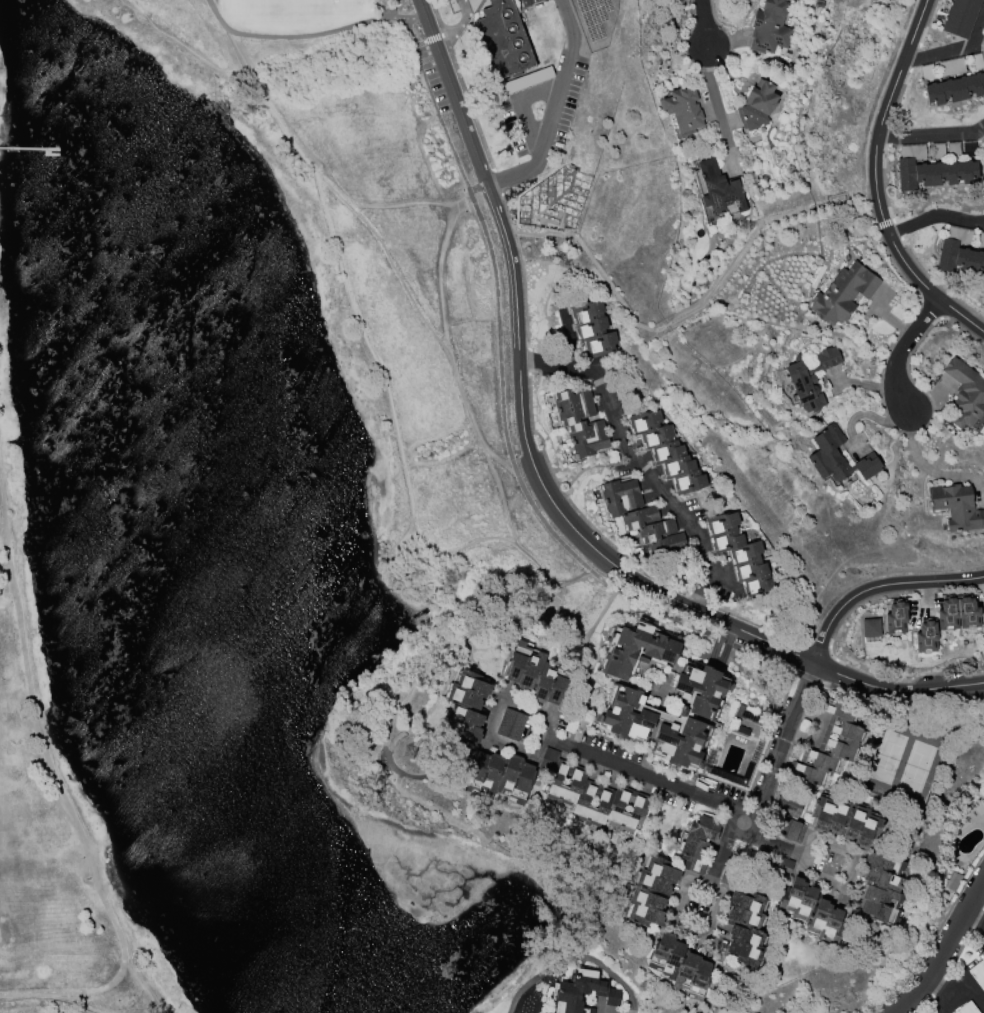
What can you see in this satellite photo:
building: (534, 1)
building: (525, 3)
road: (423, 11)
building: (960, 17)
road: (707, 19)
building: (770, 27)
road: (310, 36)
building: (503, 39)
building: (983, 43)
road: (953, 51)
building: (975, 61)
building: (950, 67)
building: (927, 72)
parking lot: (433, 76)
building: (955, 88)
road: (714, 93)
road: (457, 103)
building: (757, 104)
road: (553, 108)
building: (682, 109)
road: (522, 111)
park: (3, 119)
road: (932, 135)
pier: (28, 148)
building: (968, 149)
building: (953, 150)
building: (937, 151)
pier: (50, 154)
building: (930, 169)
road: (880, 177)
road: (478, 188)
building: (719, 188)
road: (938, 217)
park: (367, 231)
building: (980, 240)
building: (959, 252)
road: (515, 271)
building: (983, 275)
road: (442, 277)
building: (843, 293)
building: (593, 327)
road: (904, 346)
building: (810, 378)
building: (965, 393)
road: (391, 401)
road: (504, 421)
building: (581, 422)
road: (629, 450)
building: (667, 451)
building: (838, 457)
road: (502, 461)
building: (956, 506)
building: (641, 517)
road: (1, 521)
building: (741, 555)
road: (542, 570)
road: (574, 580)
road: (877, 585)
road: (684, 607)
building: (967, 612)
building: (947, 614)
building: (895, 617)
building: (982, 623)
building: (870, 627)
building: (926, 636)
building: (637, 648)
building: (537, 674)
building: (465, 706)
building: (749, 714)
building: (632, 715)
road: (490, 720)
building: (511, 724)
building: (742, 729)
building: (828, 744)
power tower: (414, 755)
building: (499, 775)
building: (590, 795)
road: (63, 799)
park: (54, 801)
building: (982, 802)
road: (721, 803)
building: (789, 818)
building: (845, 820)
building: (698, 842)
road: (829, 843)
building: (784, 867)
building: (881, 888)
building: (651, 891)
road: (677, 903)
building: (811, 909)
road: (978, 917)
building: (745, 927)
road: (949, 955)
building: (680, 965)
building: (978, 973)
road: (145, 986)
road: (942, 986)
building: (583, 990)
road: (967, 992)
road: (945, 1001)
road: (93, 1002)
building: (966, 1008)

